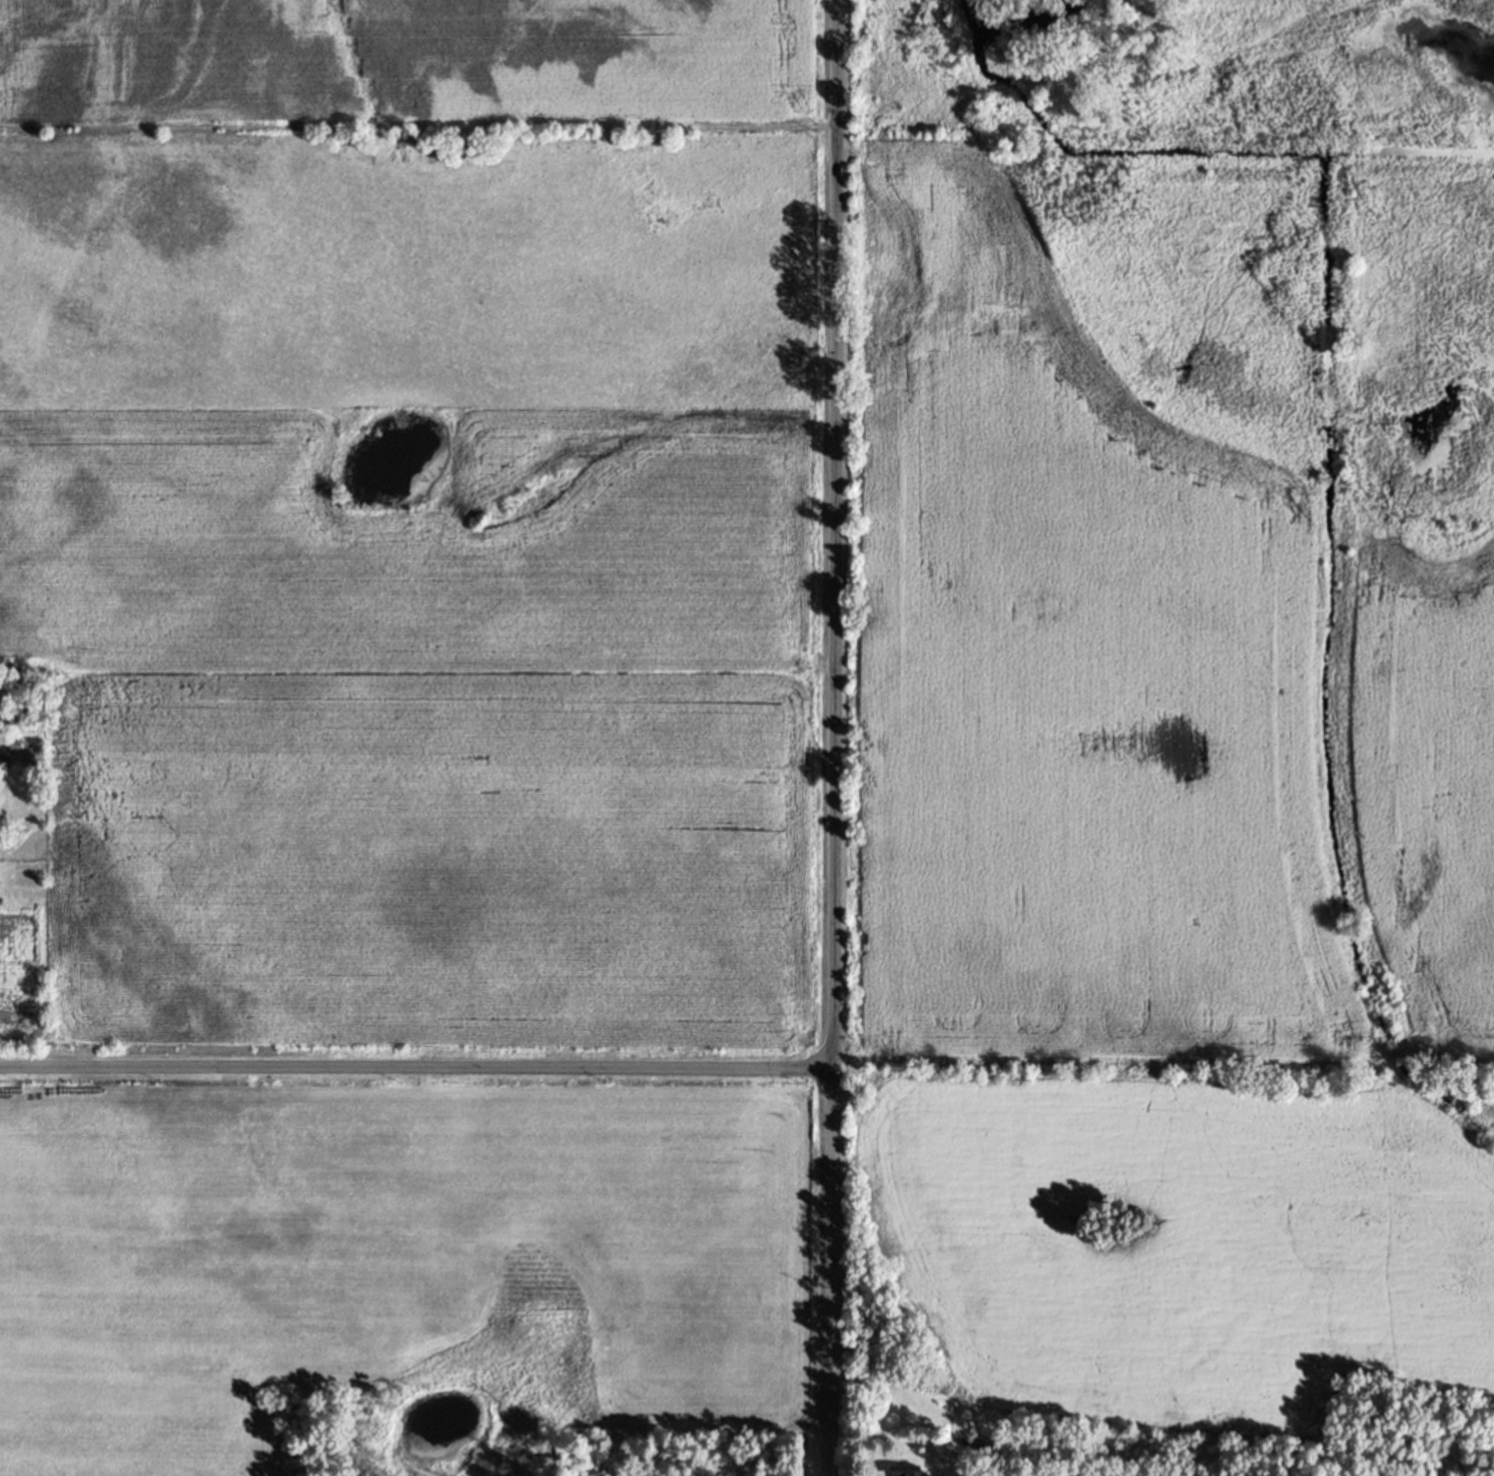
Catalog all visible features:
road: (832, 738)
road: (415, 1069)
building: (902, 1475)

